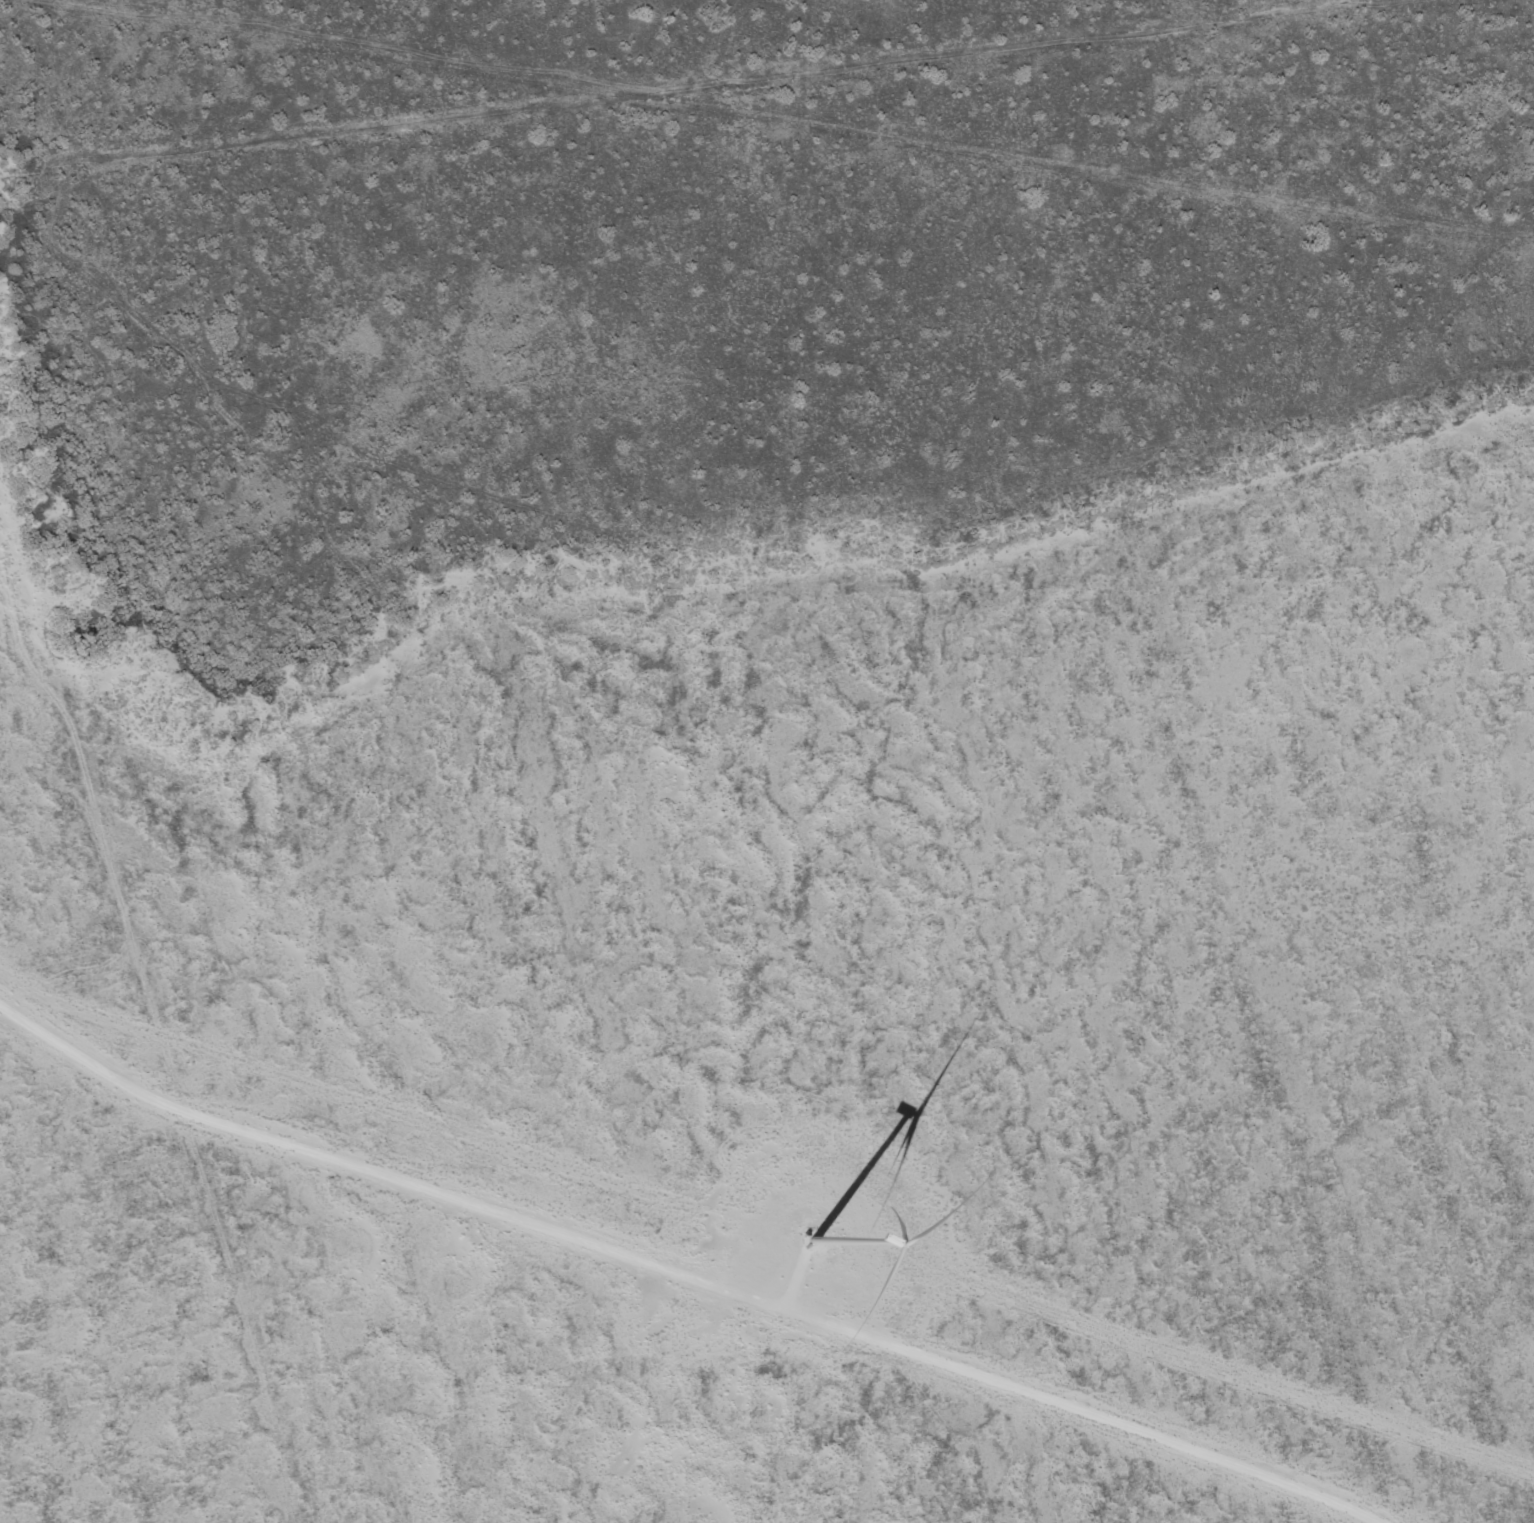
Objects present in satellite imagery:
wind turbine: (805, 1246)

